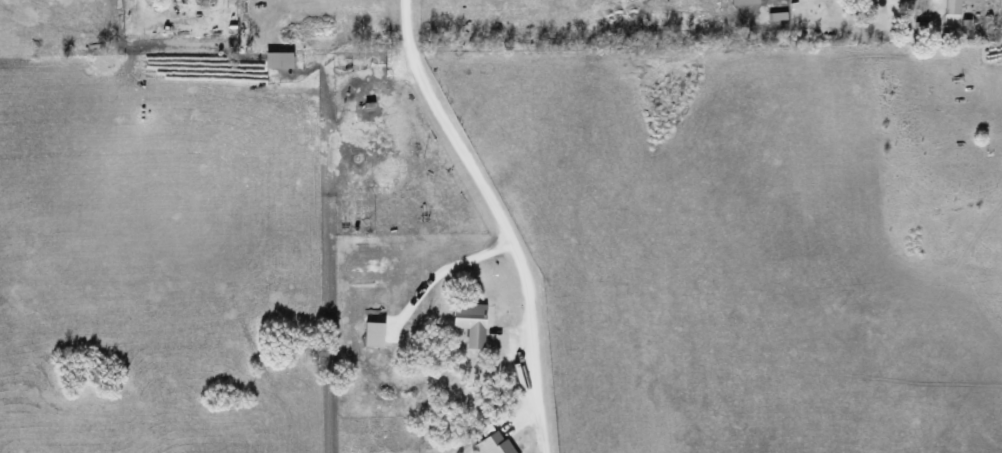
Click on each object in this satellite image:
building: (746, 1)
building: (953, 6)
building: (471, 321)
building: (373, 334)
building: (494, 443)

